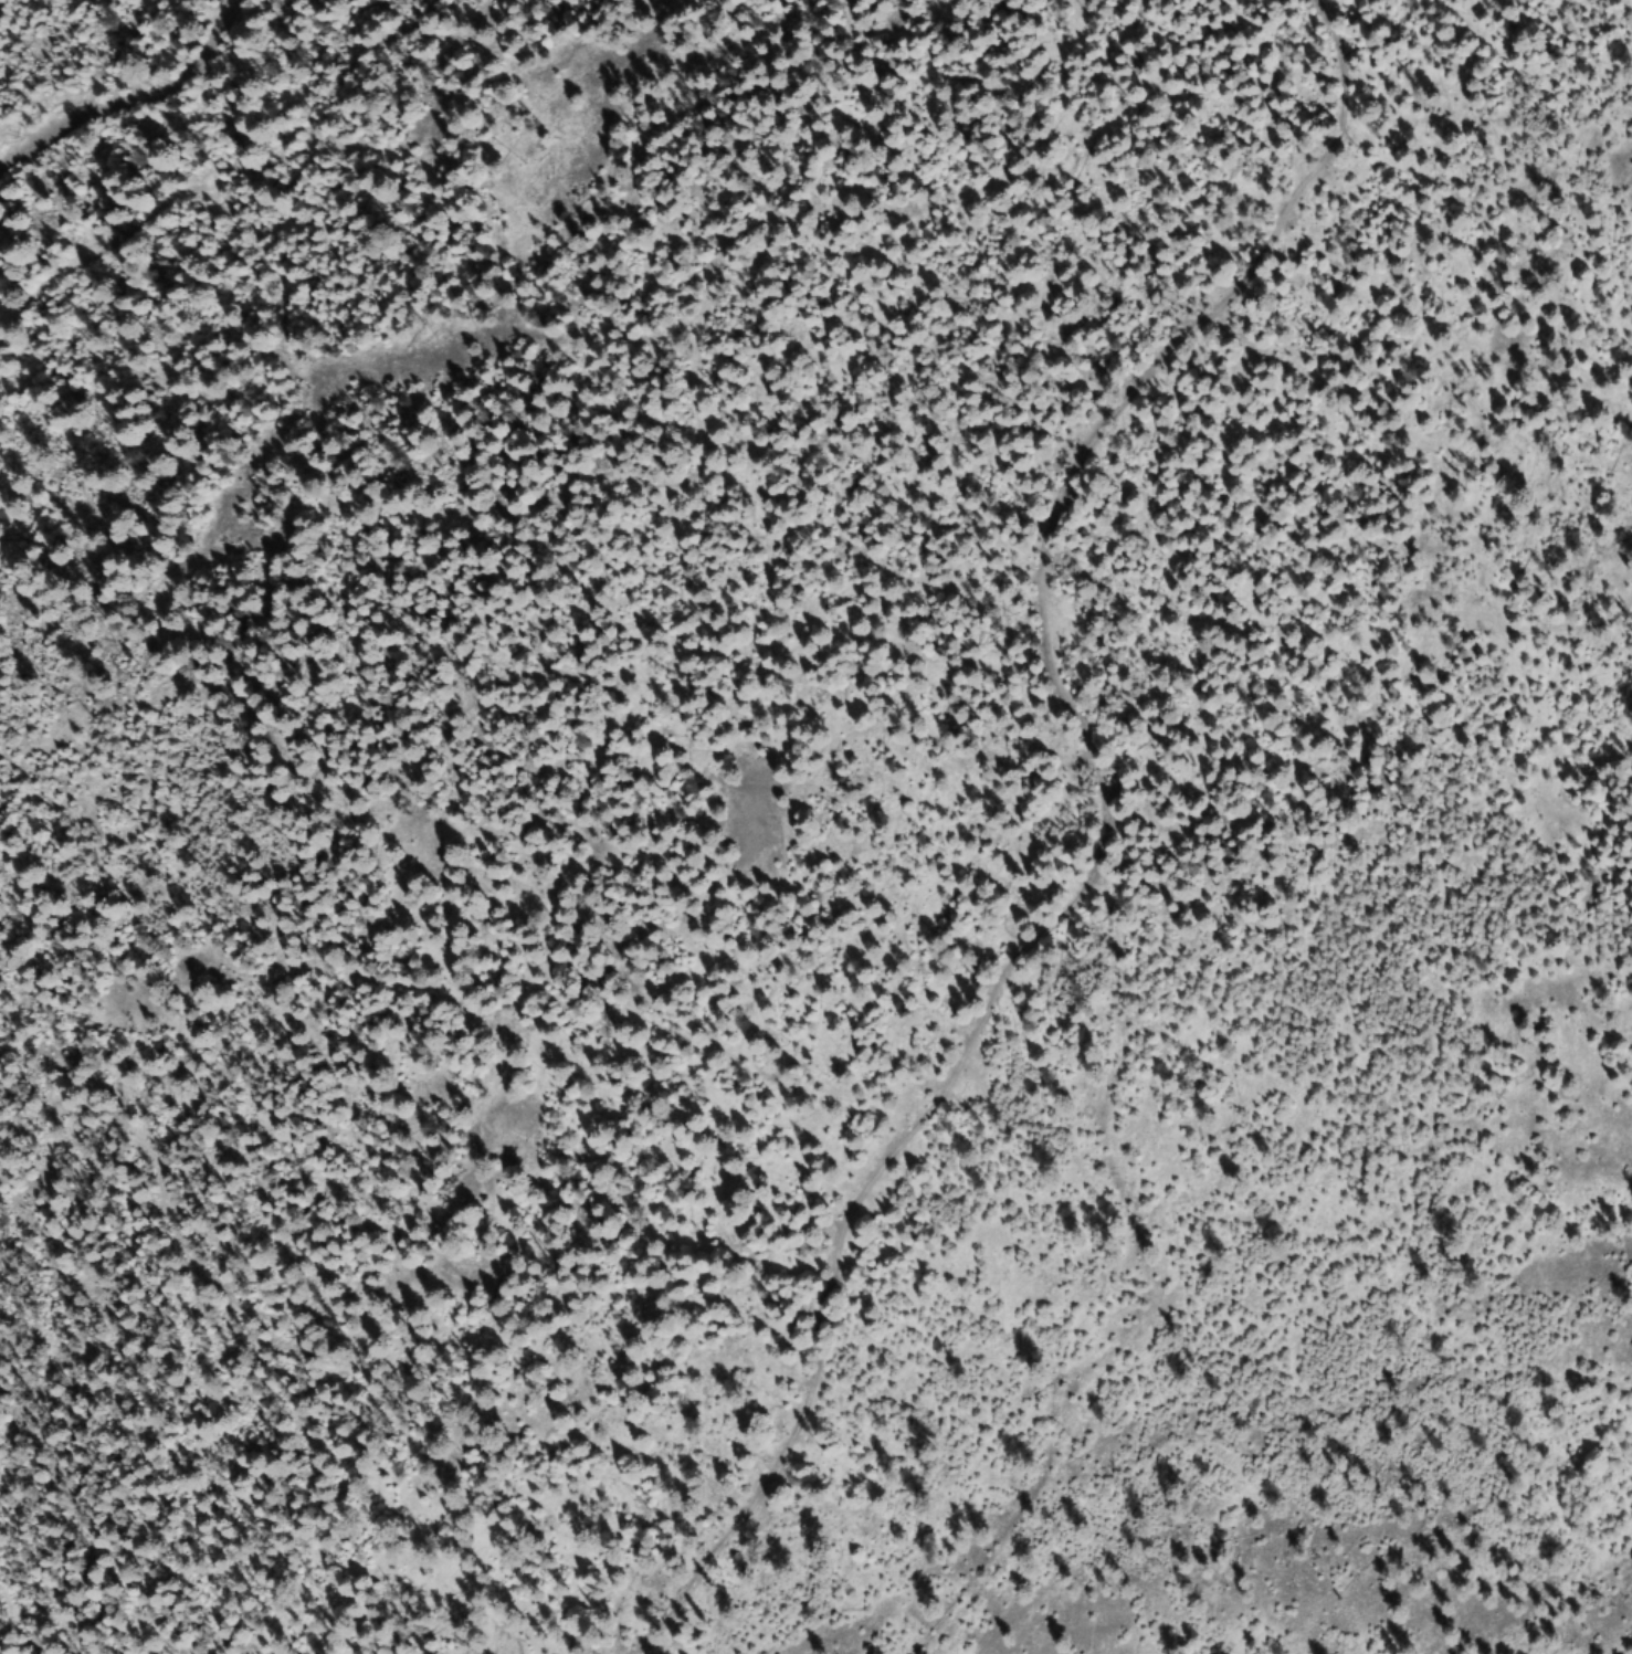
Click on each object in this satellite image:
road: (3, 2)
road: (140, 103)
road: (1084, 830)

